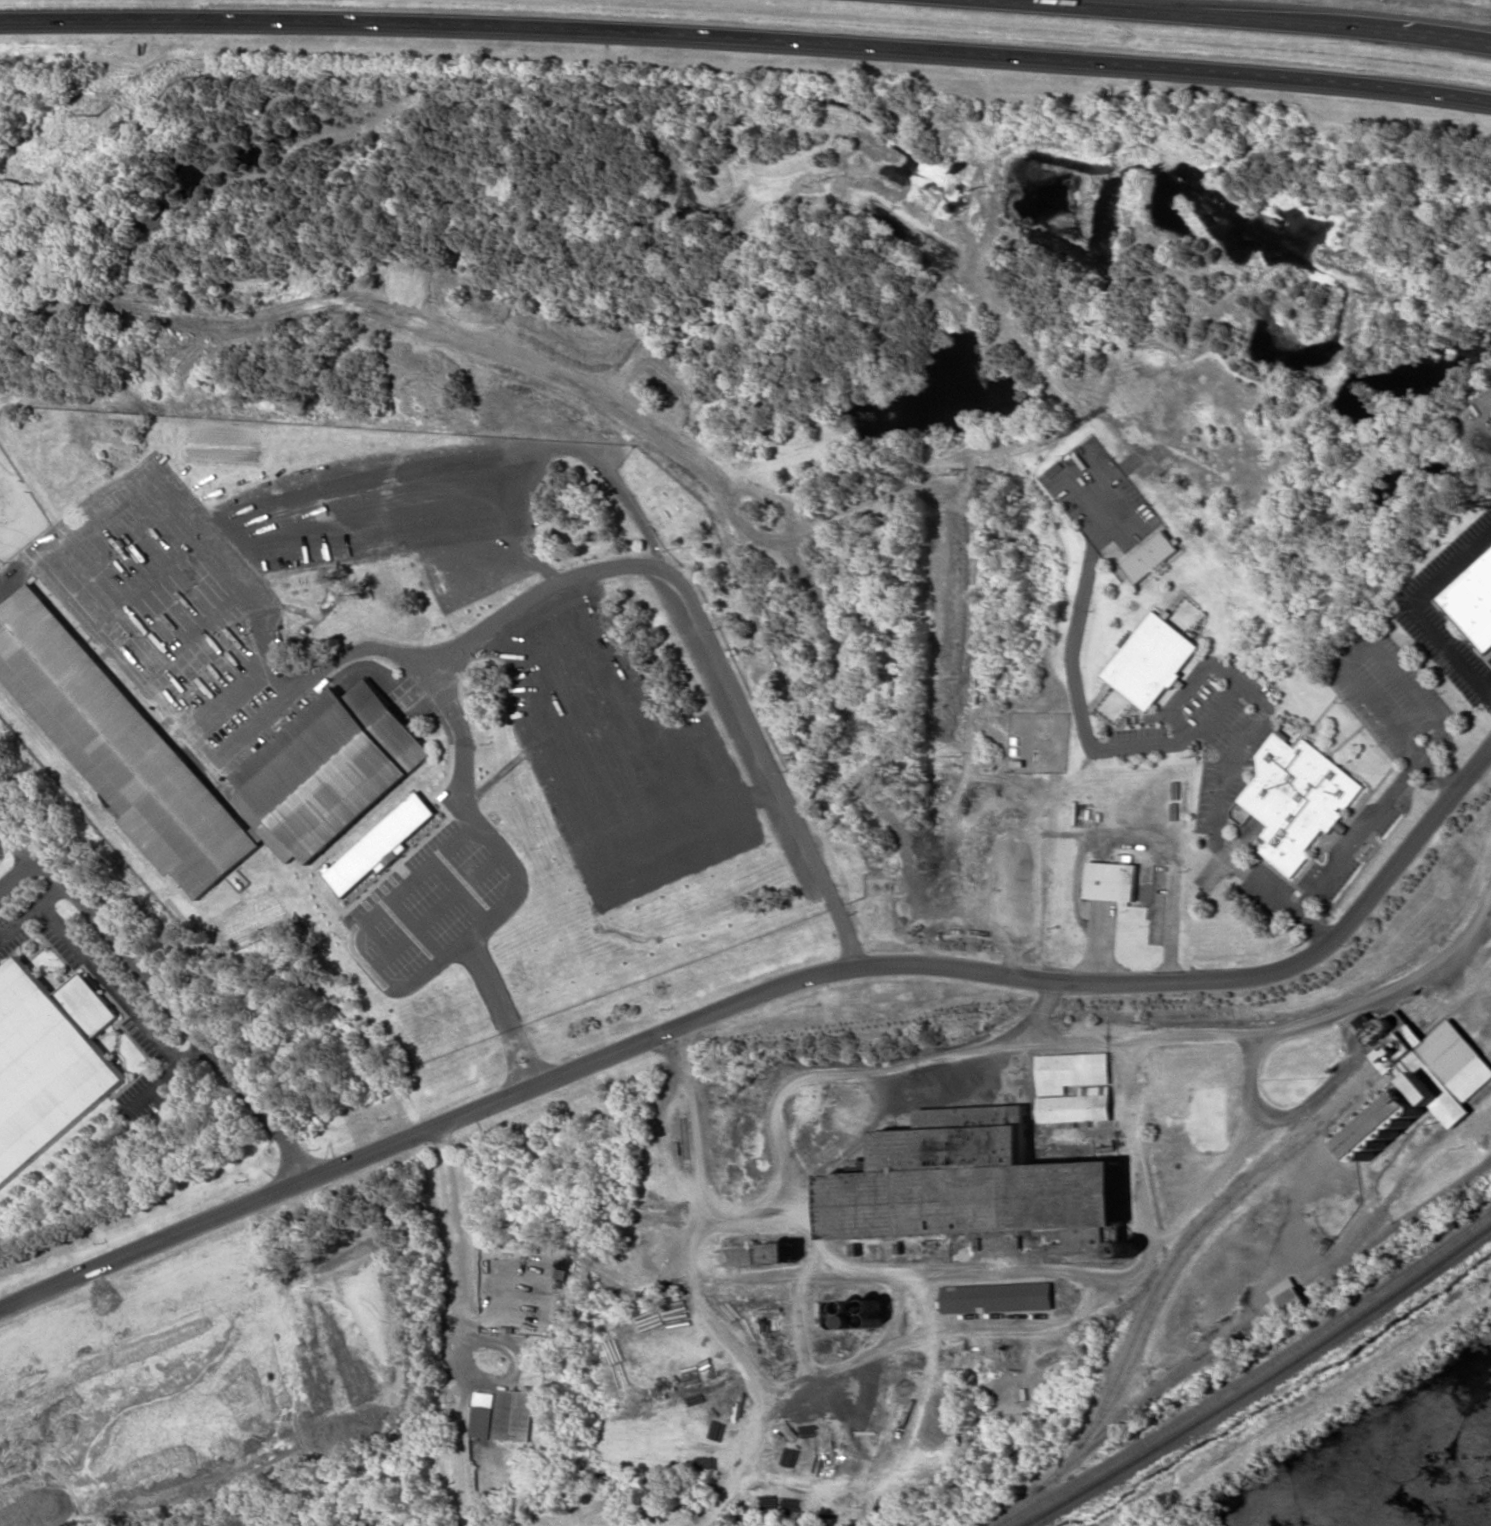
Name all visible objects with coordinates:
road: (1245, 16)
road: (746, 36)
power tower: (99, 113)
parking lot: (523, 473)
road: (1104, 537)
building: (1151, 556)
road: (1088, 572)
building: (1472, 600)
parking lot: (172, 610)
road: (1078, 623)
road: (716, 637)
building: (1152, 661)
road: (433, 682)
road: (1241, 683)
road: (1486, 688)
road: (1190, 689)
parking lot: (1387, 691)
road: (1079, 695)
road: (1221, 706)
building: (351, 724)
road: (1247, 735)
road: (1144, 743)
parking lot: (574, 773)
road: (1439, 774)
building: (1298, 797)
road: (1221, 802)
road: (1359, 834)
building: (382, 842)
road: (1411, 848)
building: (1112, 880)
road: (1272, 890)
parking lot: (437, 903)
road: (31, 908)
road: (1102, 947)
road: (808, 979)
road: (107, 983)
road: (504, 1013)
road: (180, 1019)
building: (48, 1061)
building: (1430, 1062)
road: (164, 1074)
building: (1094, 1090)
building: (1385, 1123)
railway: (1262, 1164)
railway: (1403, 1176)
building: (975, 1188)
railway: (1244, 1193)
road: (157, 1243)
building: (997, 1296)
building: (1287, 1297)
railway: (1233, 1335)
railway: (1251, 1377)
railway: (1260, 1382)
building: (485, 1413)
building: (516, 1414)

